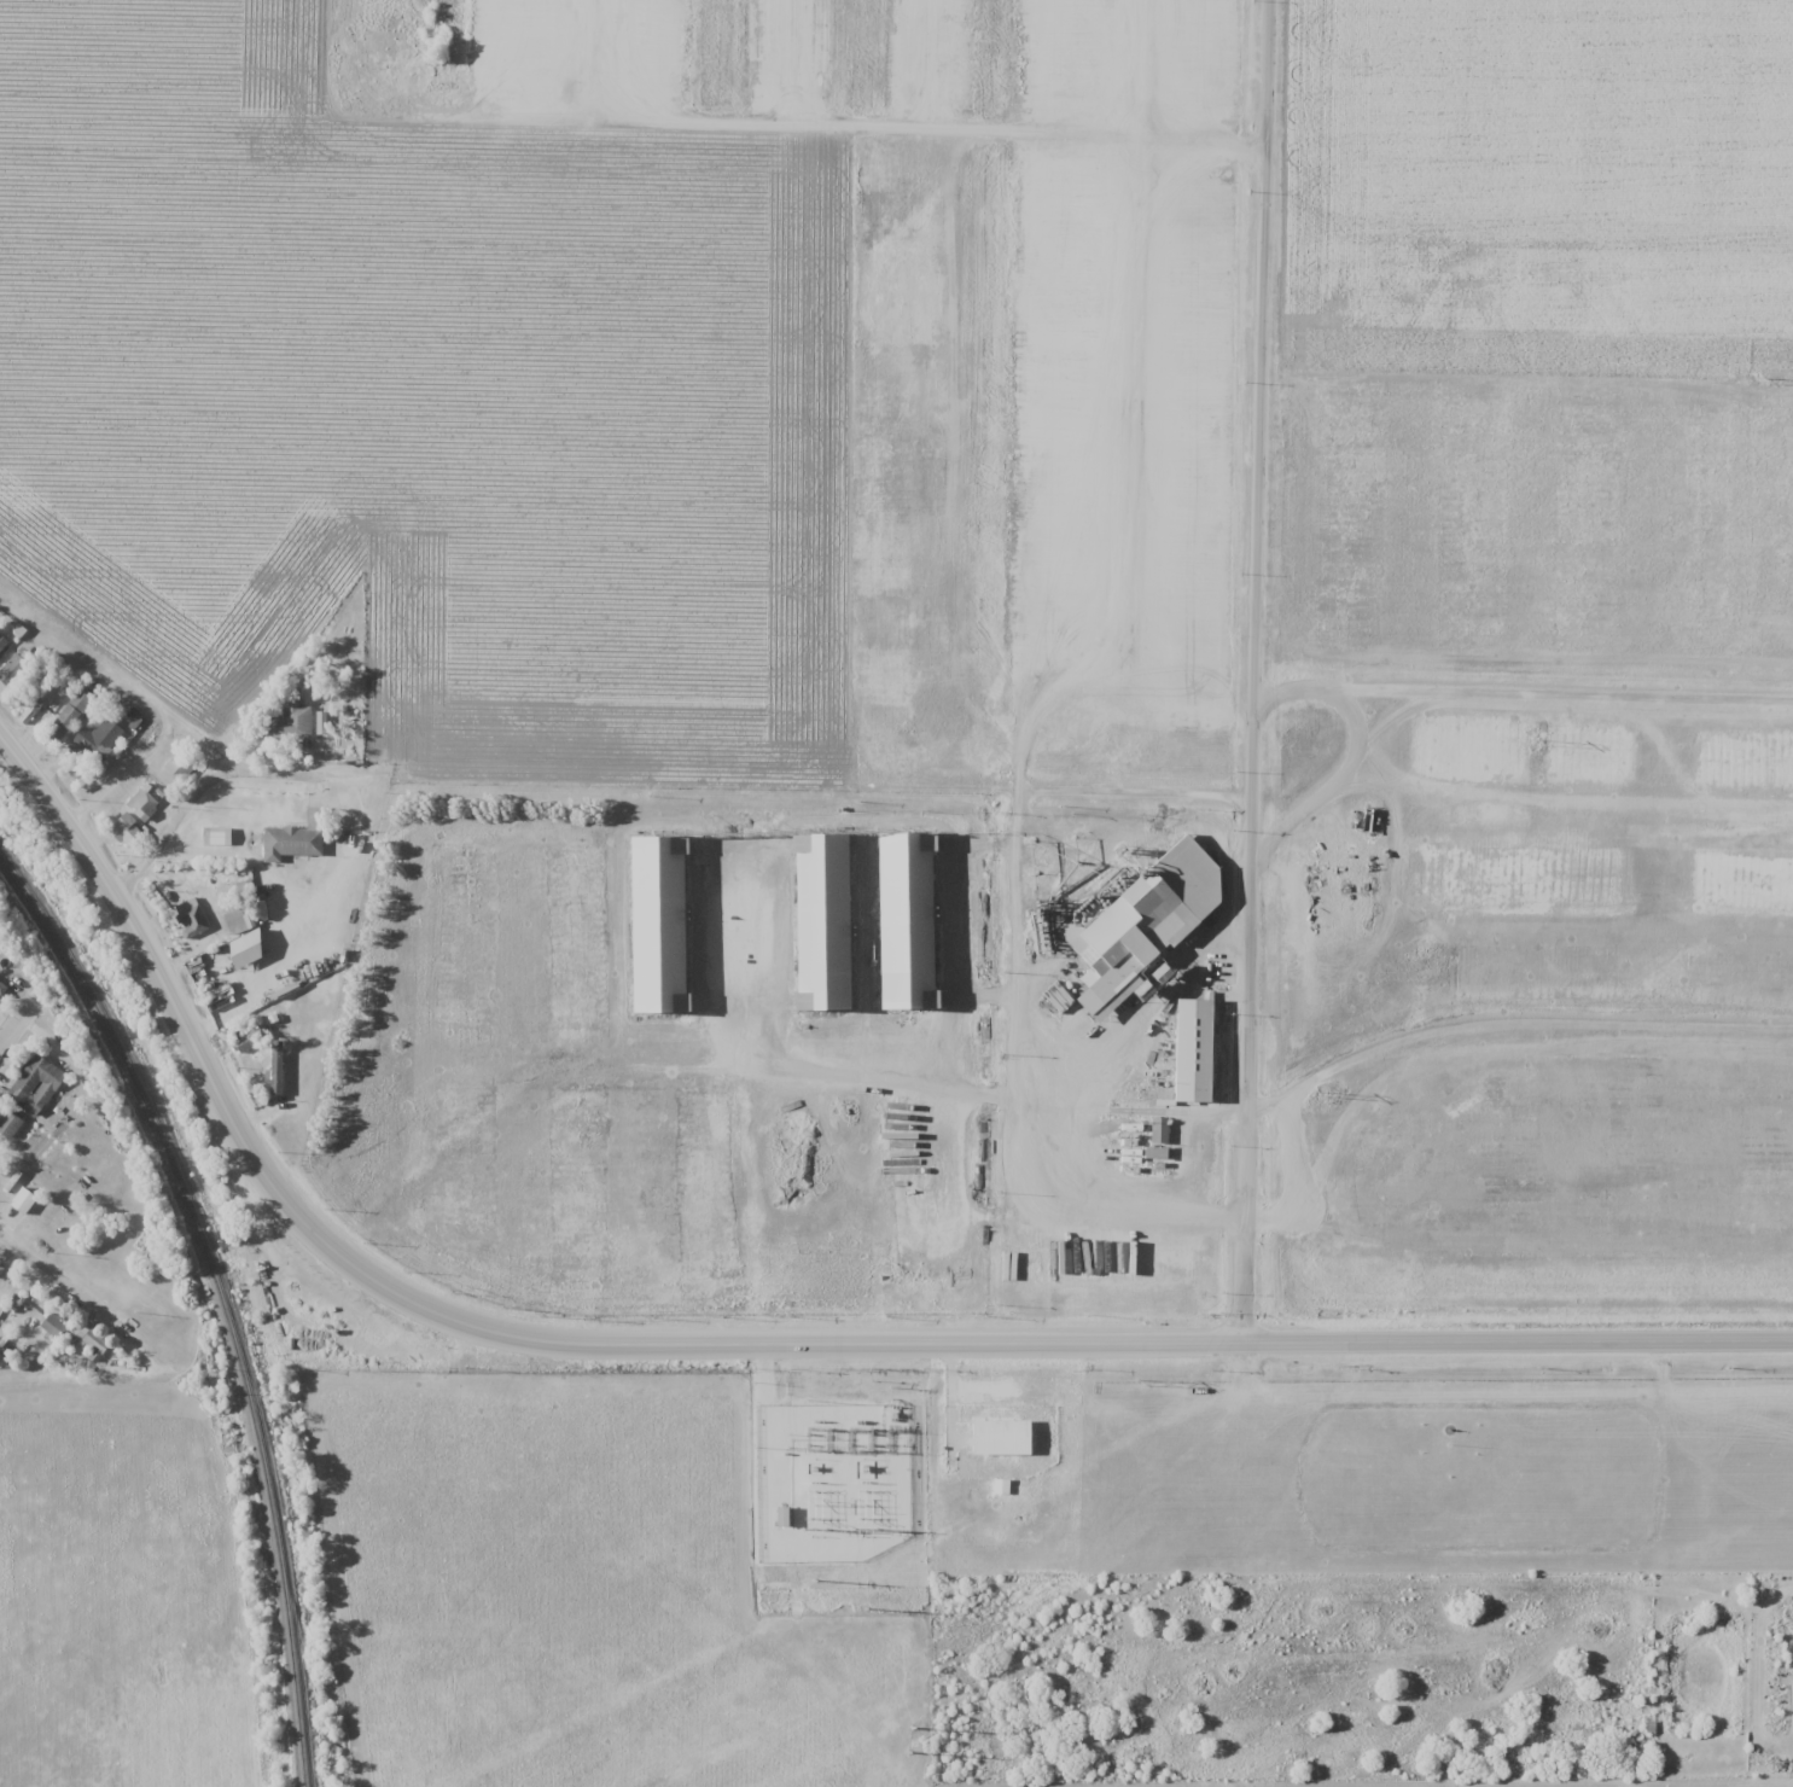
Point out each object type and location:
power tower: (1763, 382)
crop: (413, 400)
road: (301, 619)
building: (2, 644)
building: (16, 665)
road: (1257, 670)
power tower: (1537, 745)
building: (180, 766)
road: (656, 785)
building: (141, 804)
road: (57, 813)
building: (127, 831)
building: (290, 843)
building: (188, 918)
building: (907, 919)
building: (1149, 921)
building: (240, 962)
building: (1, 986)
road: (14, 1023)
building: (245, 1037)
building: (1197, 1049)
building: (275, 1067)
building: (35, 1084)
power tower: (1314, 1096)
building: (10, 1123)
building: (1160, 1130)
building: (19, 1203)
building: (1066, 1257)
road: (51, 1273)
railway: (221, 1298)
building: (54, 1326)
road: (840, 1344)
building: (94, 1345)
power tower: (1139, 1384)
power substation: (848, 1433)
building: (1003, 1437)
power tower: (849, 1605)
power tower: (916, 1611)
power tower: (924, 1718)
power tower: (915, 1731)

